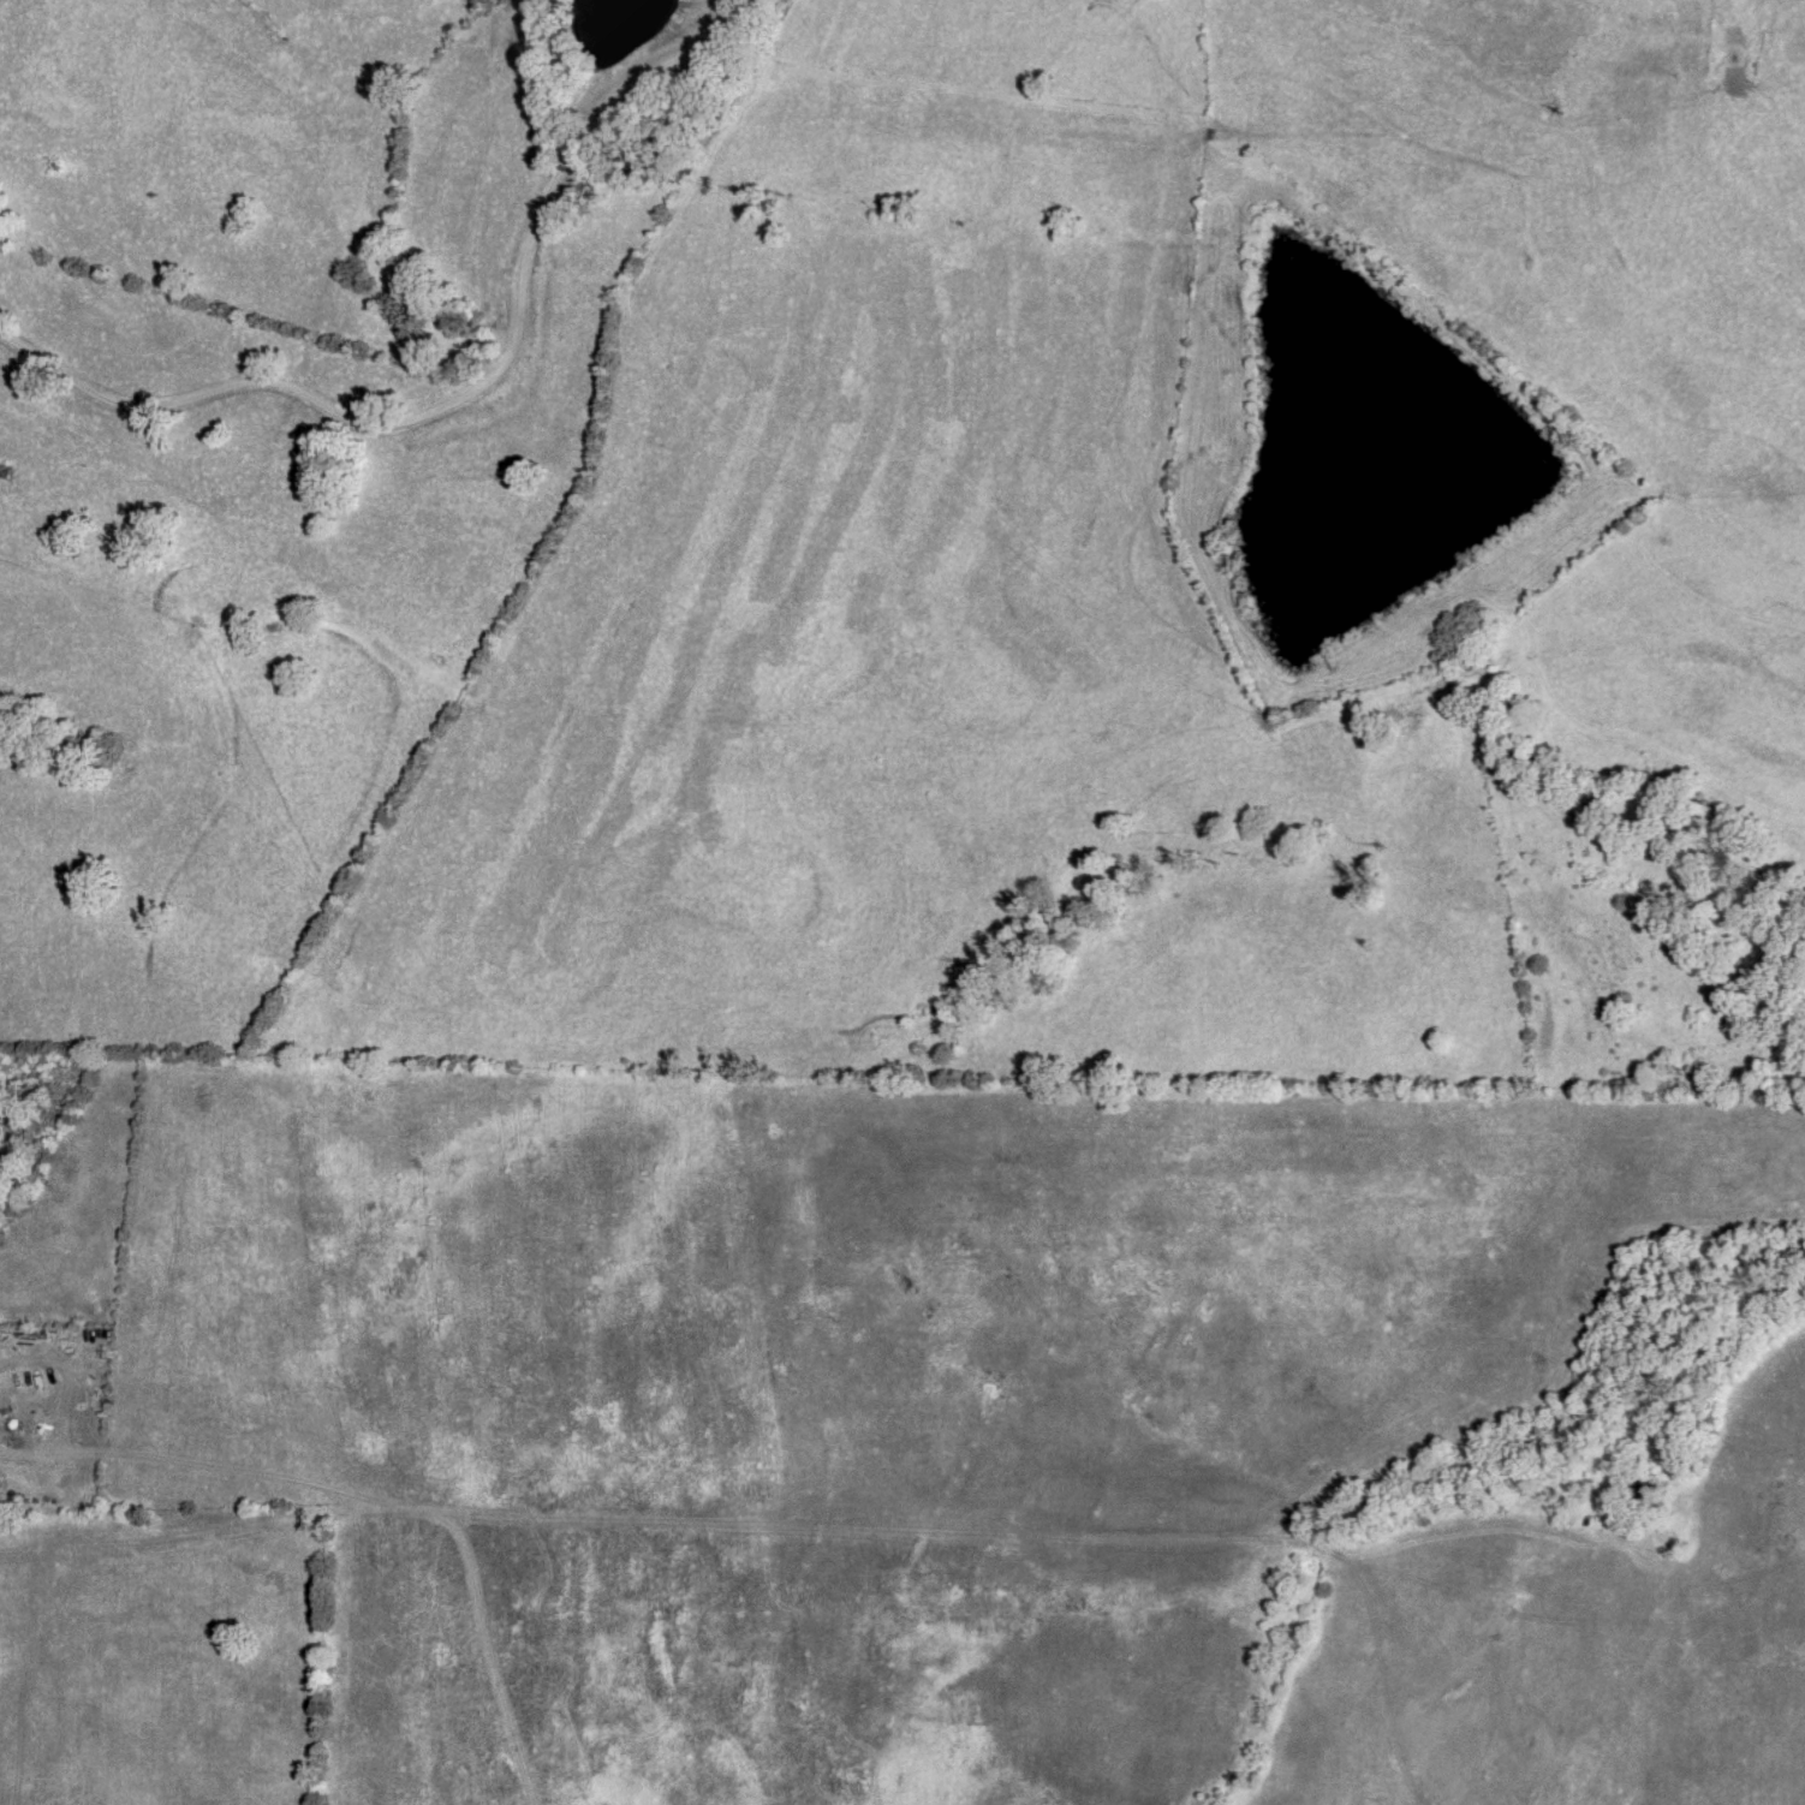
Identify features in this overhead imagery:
road: (467, 391)

